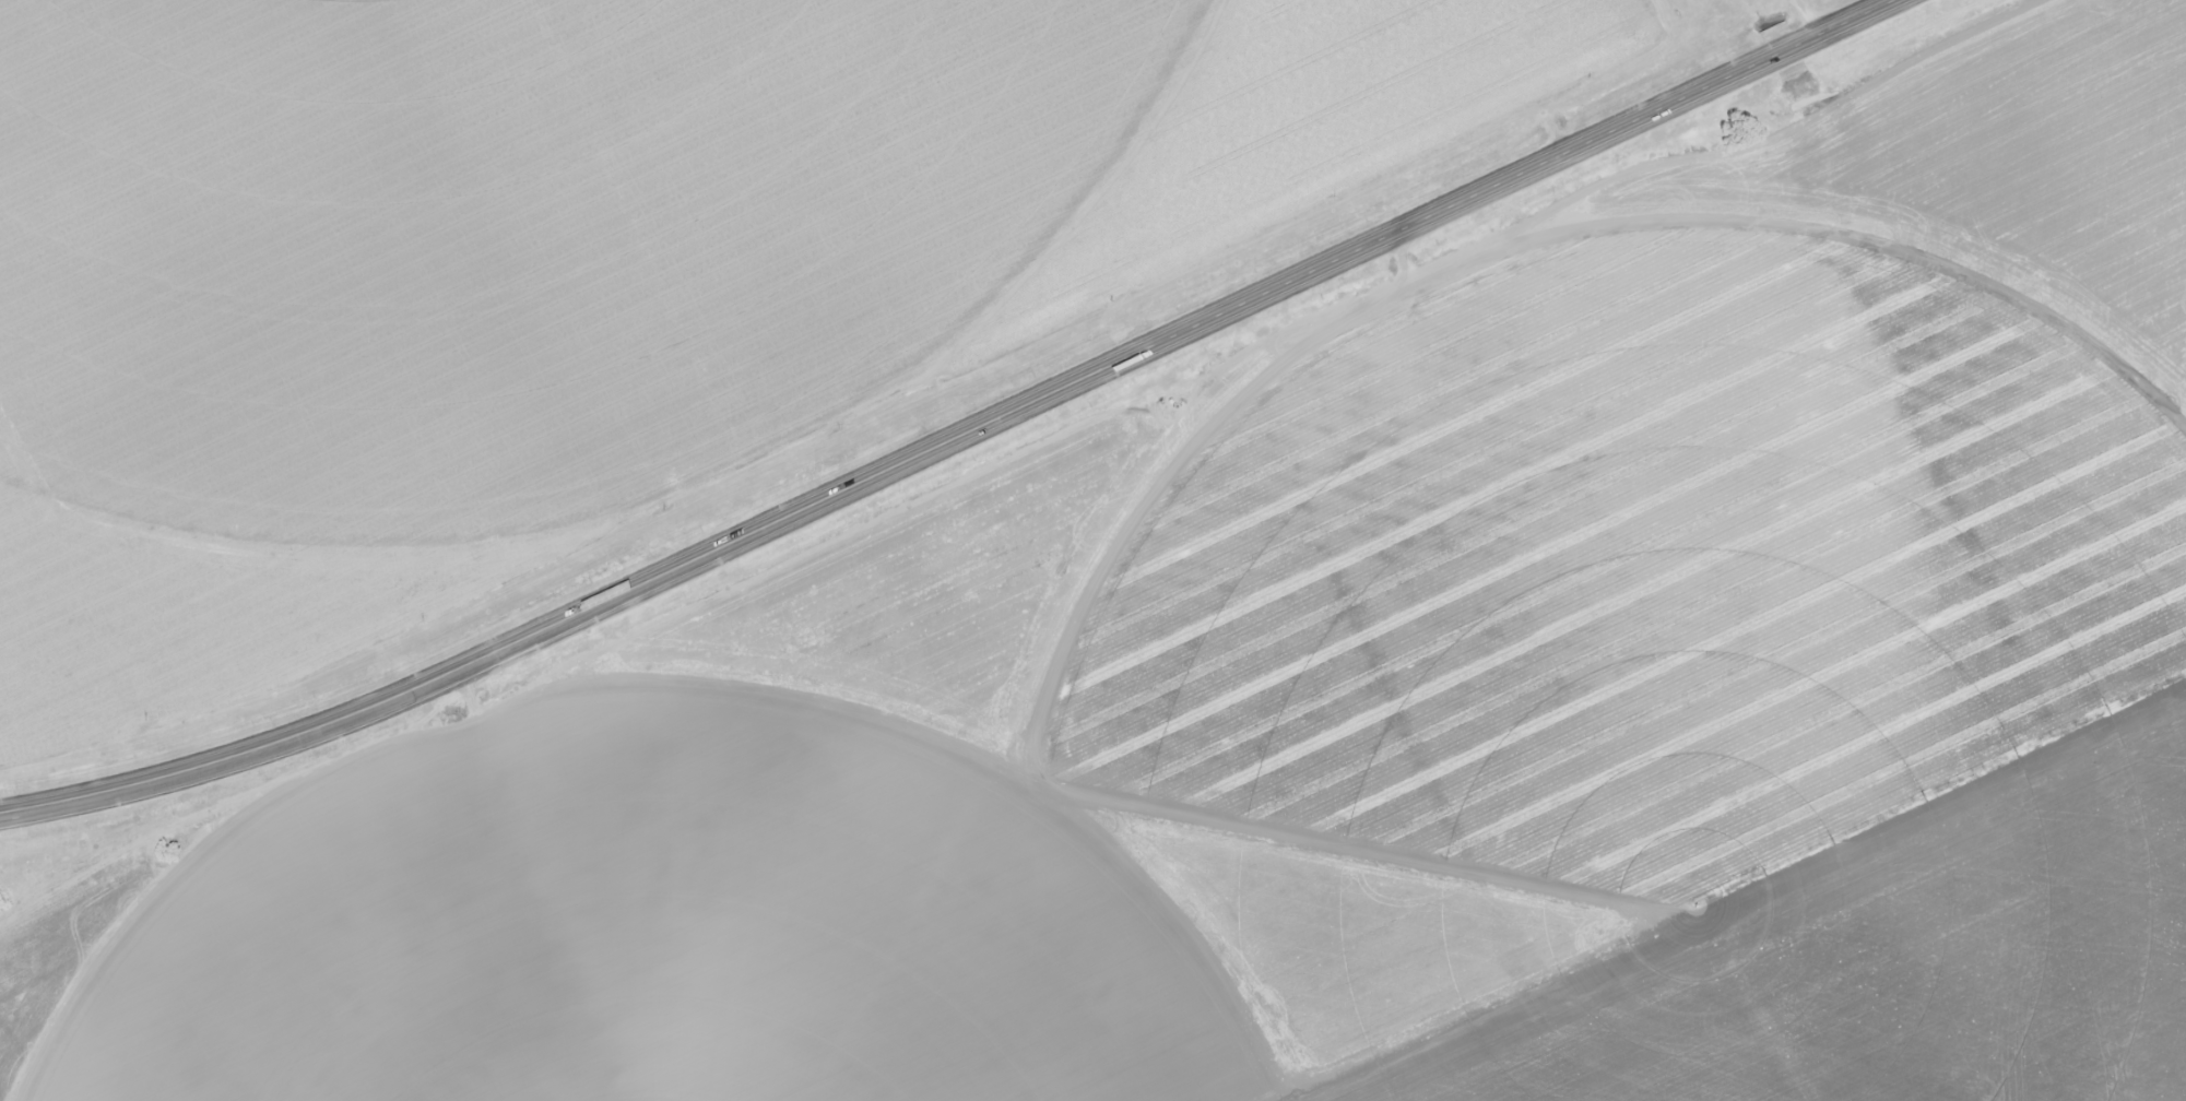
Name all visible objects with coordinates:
road: (959, 437)
road: (571, 883)

